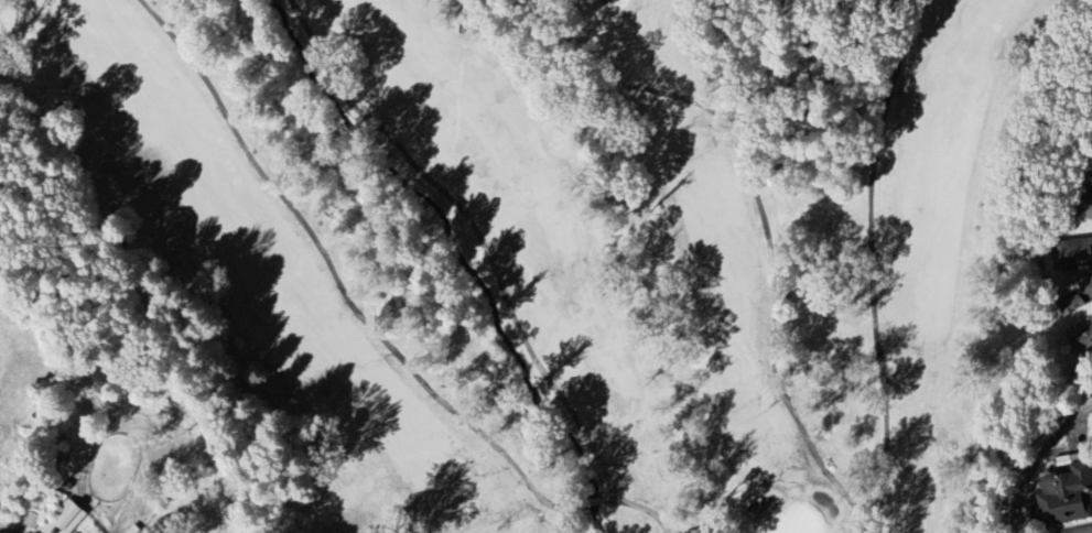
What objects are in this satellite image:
building: (1089, 213)
park: (591, 242)
building: (1075, 254)
building: (1078, 297)
building: (1091, 318)
building: (1082, 342)
building: (1068, 496)
building: (67, 520)

